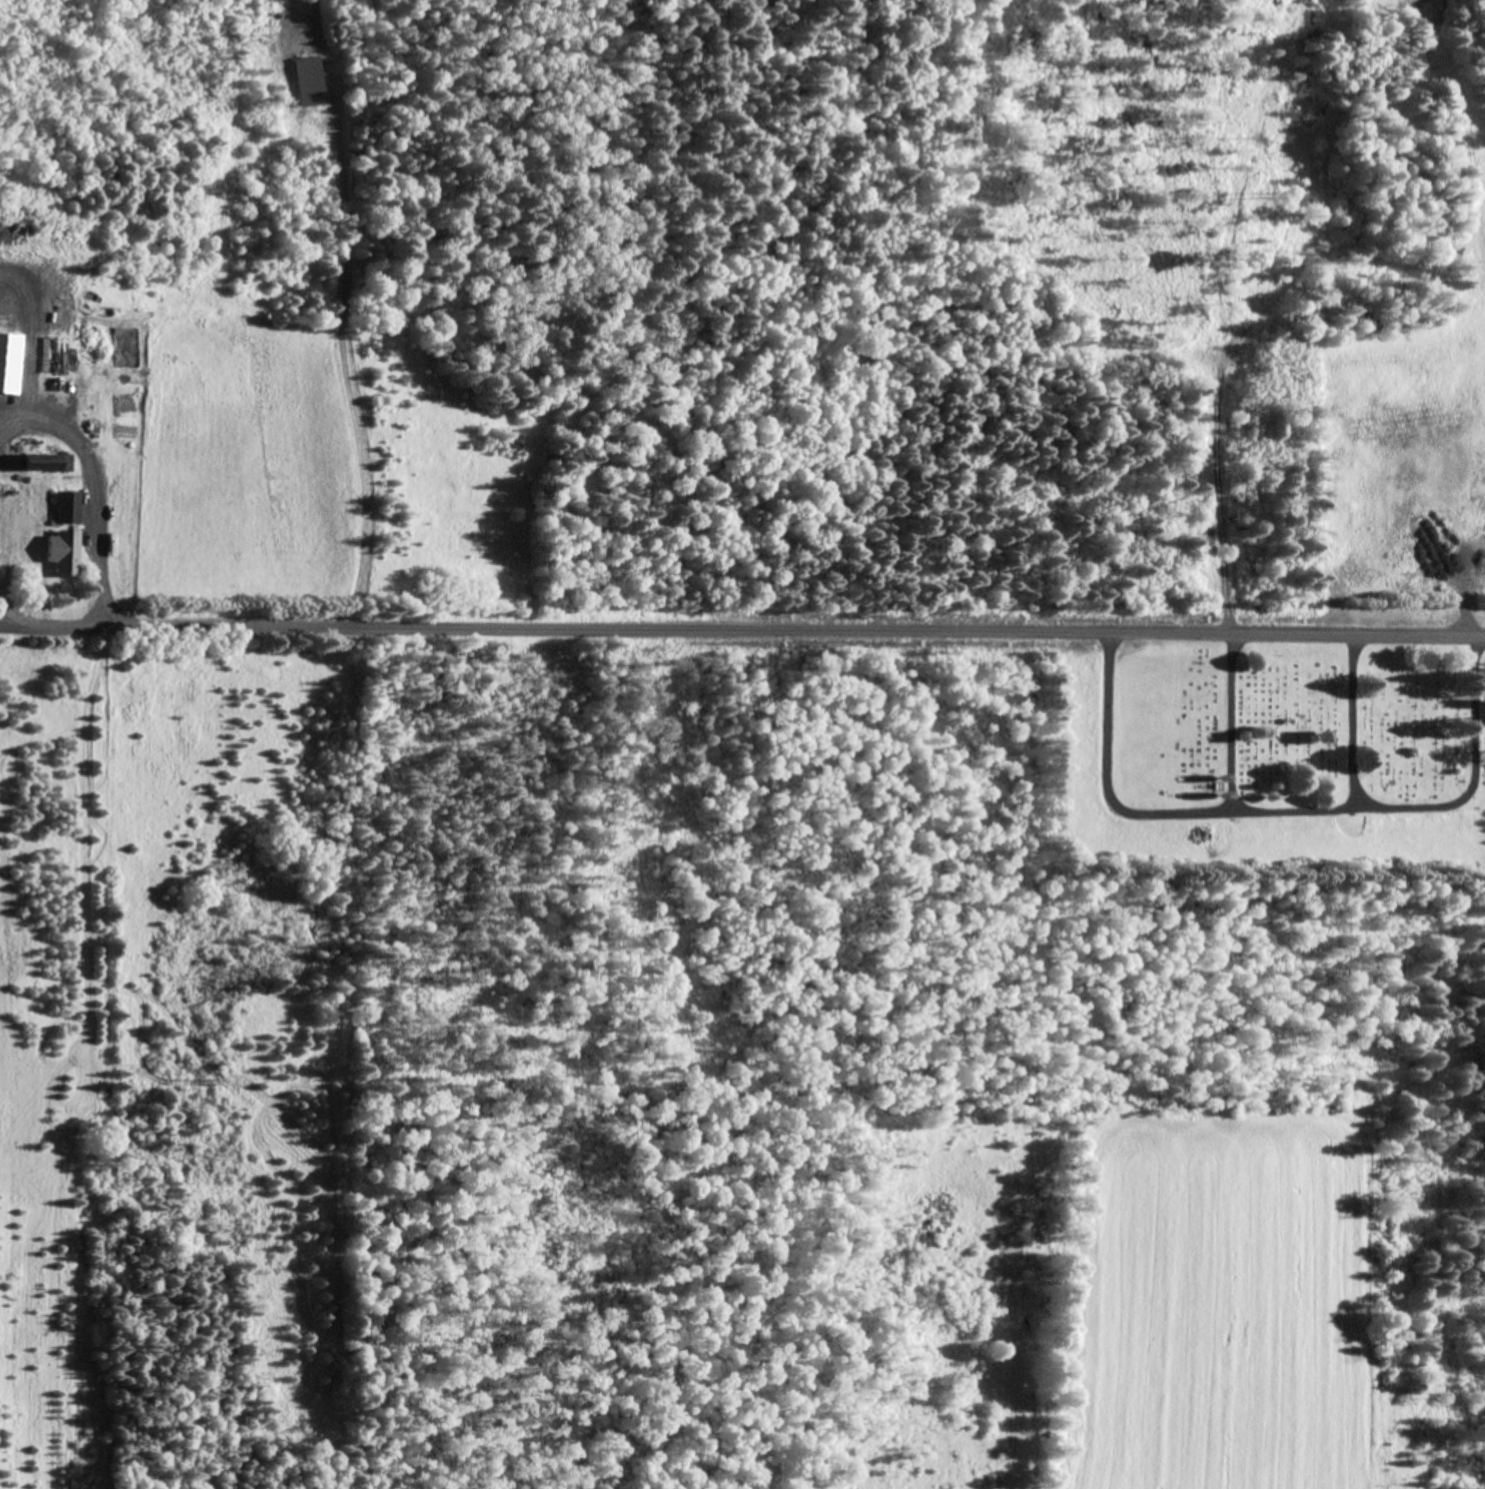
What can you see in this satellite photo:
building: (307, 80)
building: (8, 361)
building: (46, 462)
building: (70, 507)
building: (65, 551)
road: (742, 636)
park: (1271, 753)

